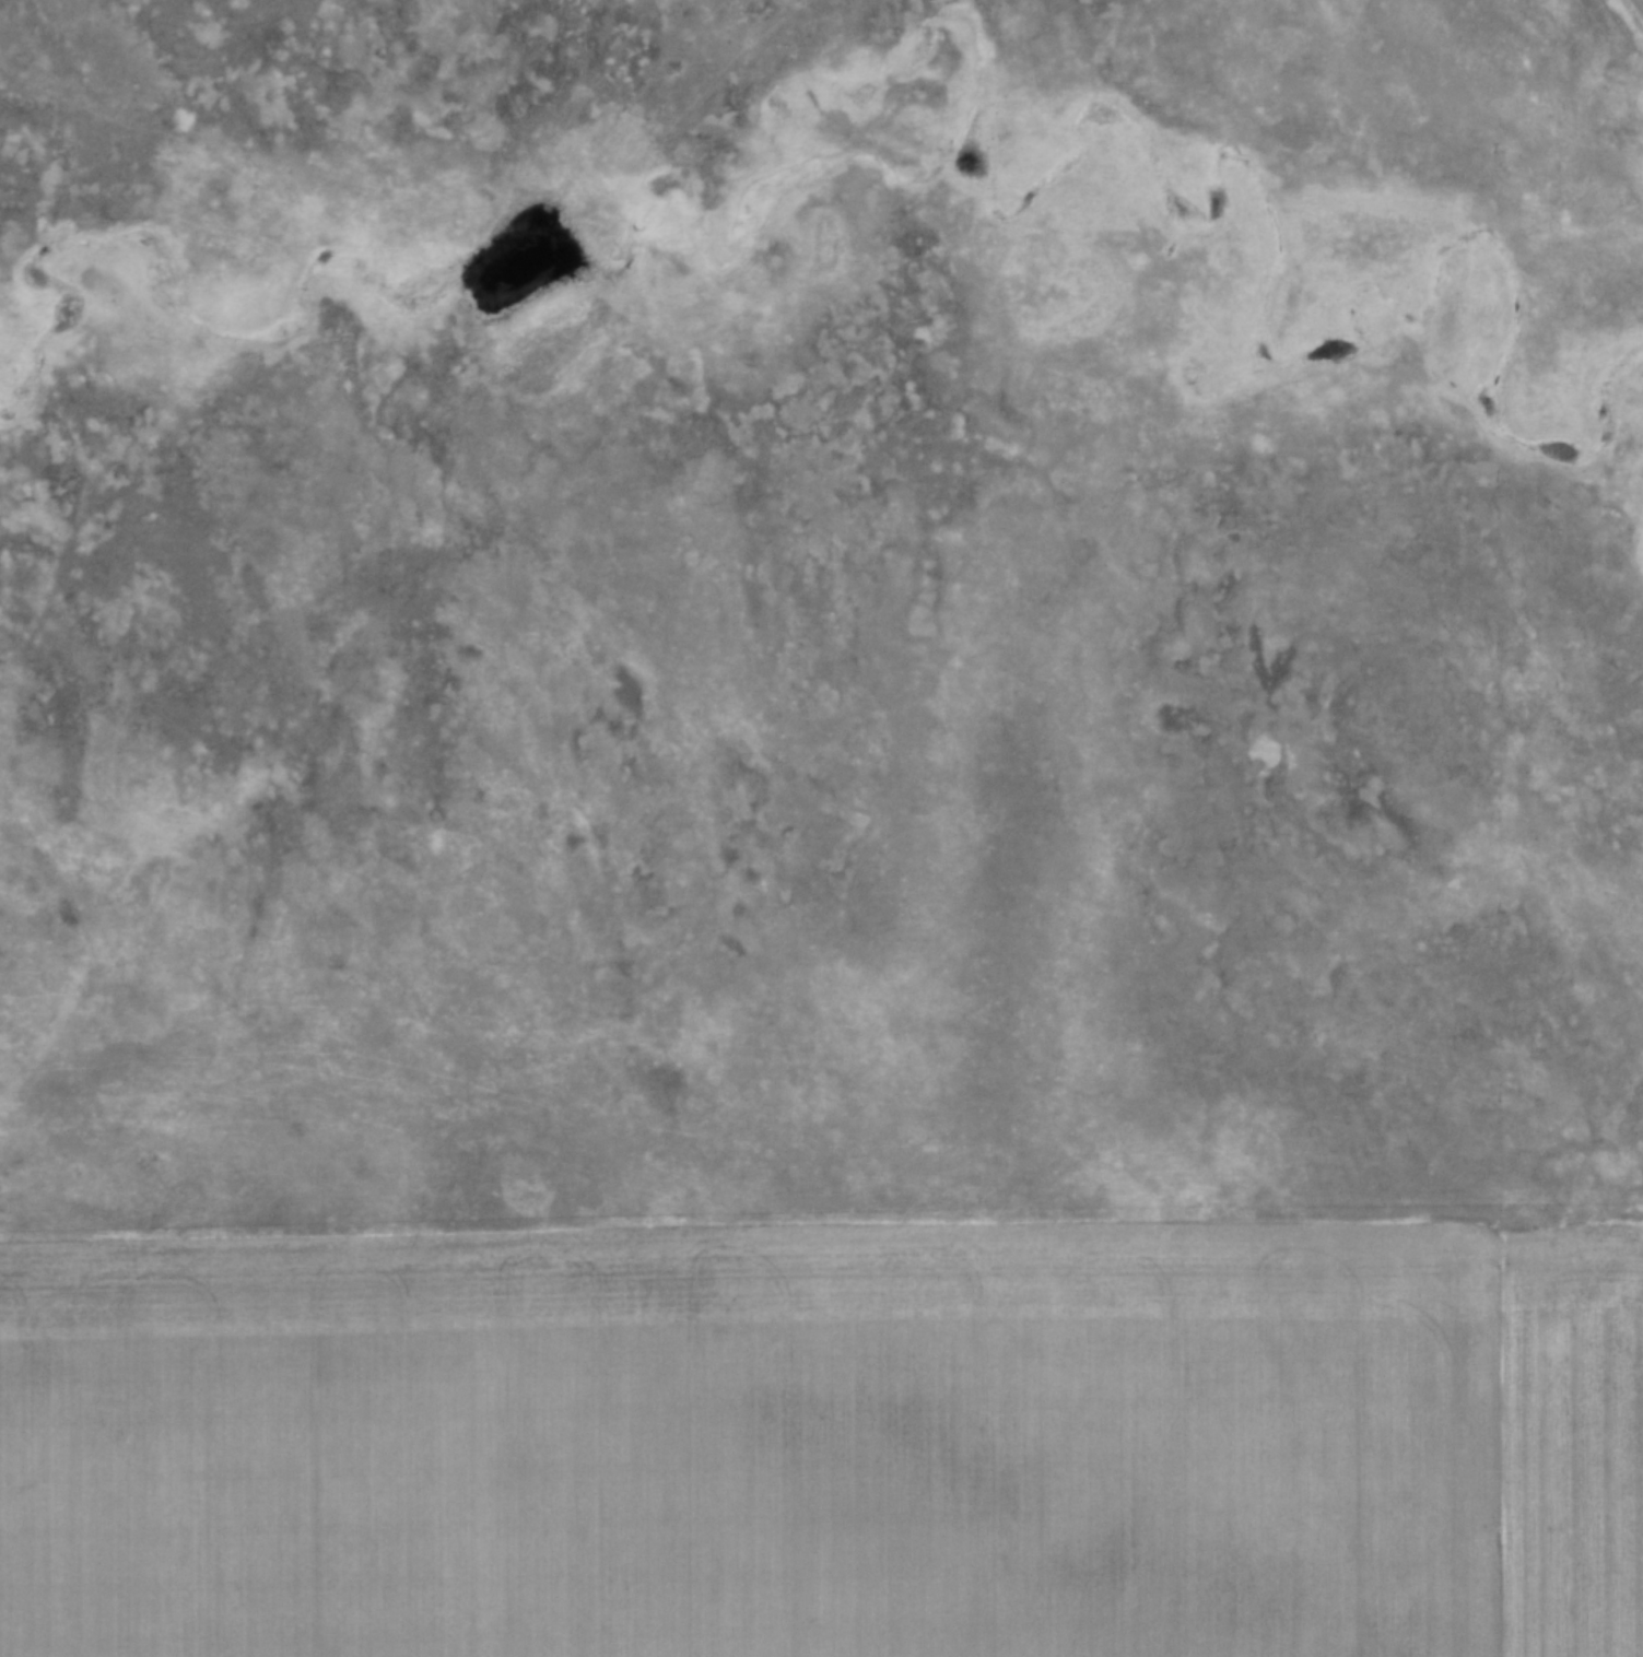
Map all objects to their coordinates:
road: (1640, 2)

